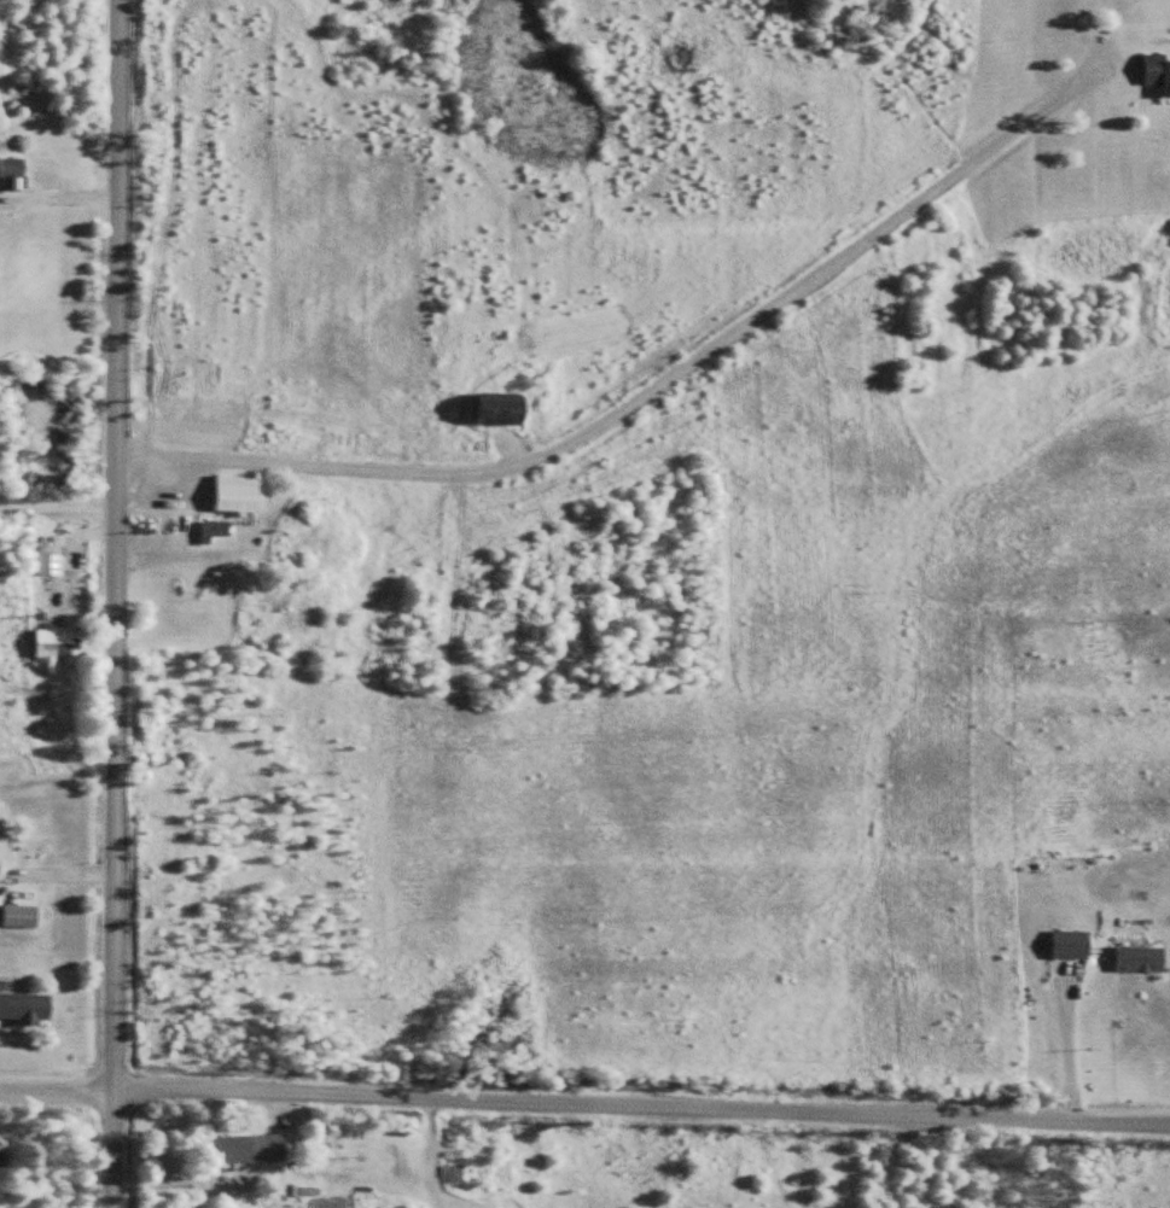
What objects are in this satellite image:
building: (1158, 71)
building: (12, 173)
road: (58, 193)
road: (646, 377)
building: (503, 405)
building: (239, 495)
road: (58, 510)
building: (50, 561)
road: (115, 603)
building: (56, 643)
building: (2, 836)
building: (21, 916)
building: (1140, 958)
building: (27, 1006)
road: (584, 1101)
building: (251, 1148)

